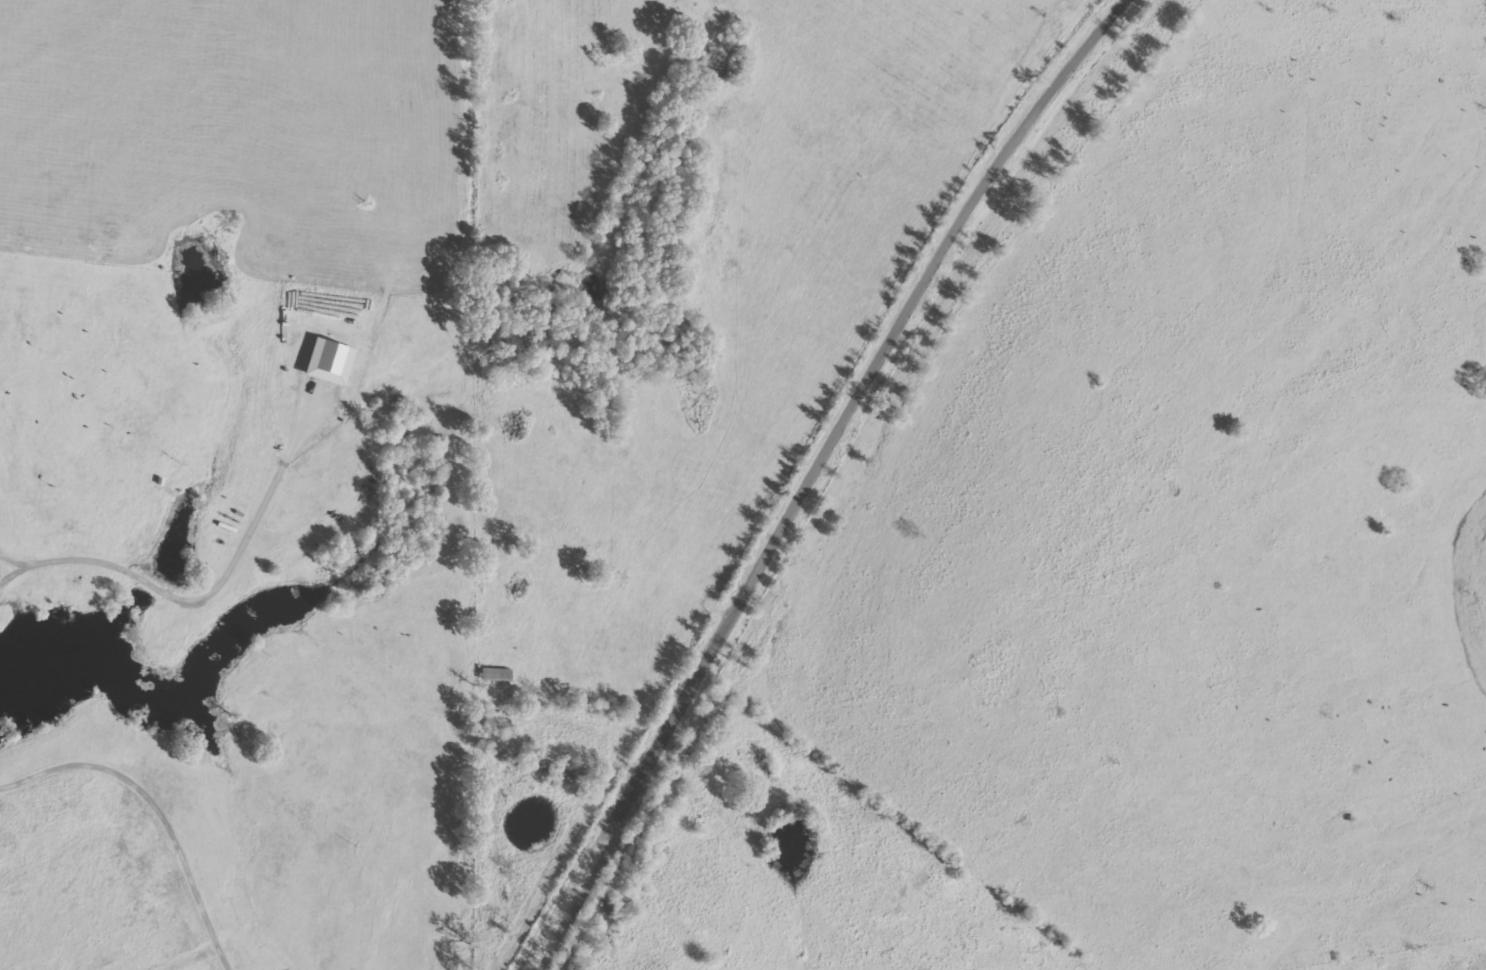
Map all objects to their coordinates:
building: (329, 362)
road: (823, 473)

